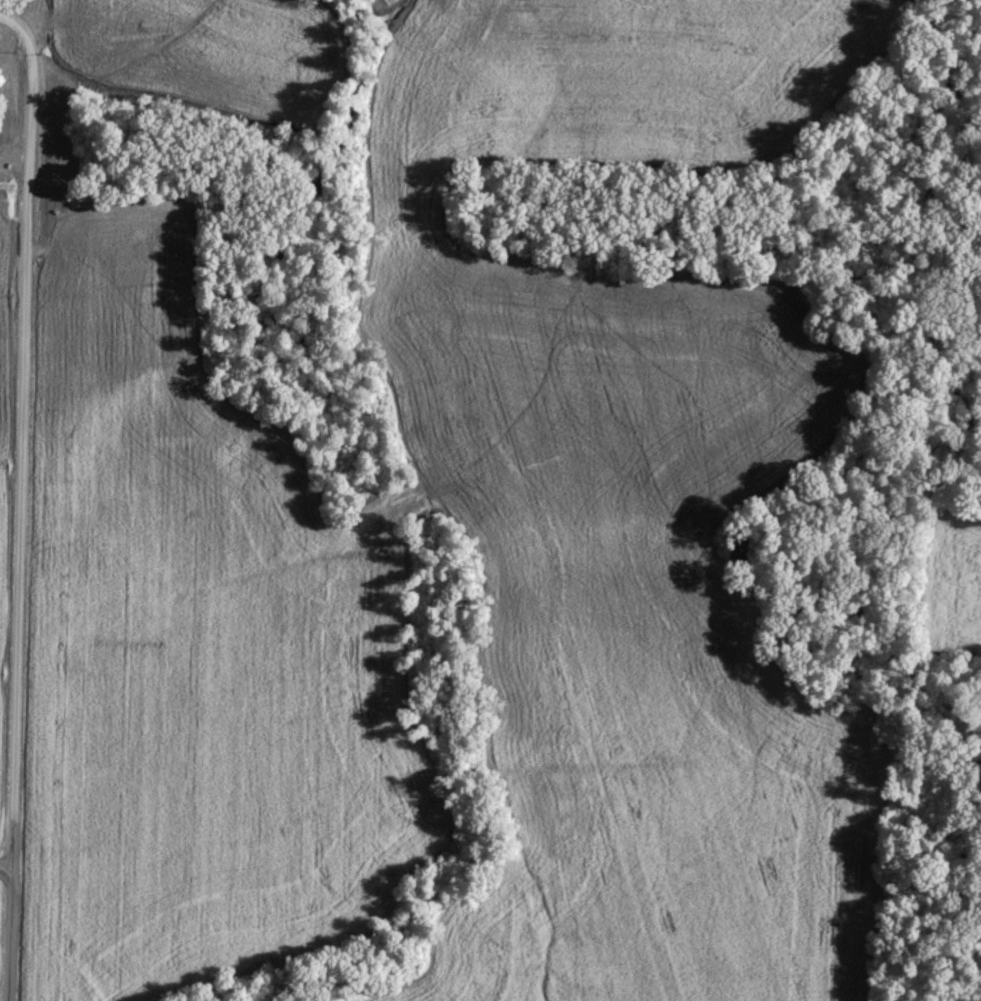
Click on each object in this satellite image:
road: (22, 499)
road: (6, 869)

